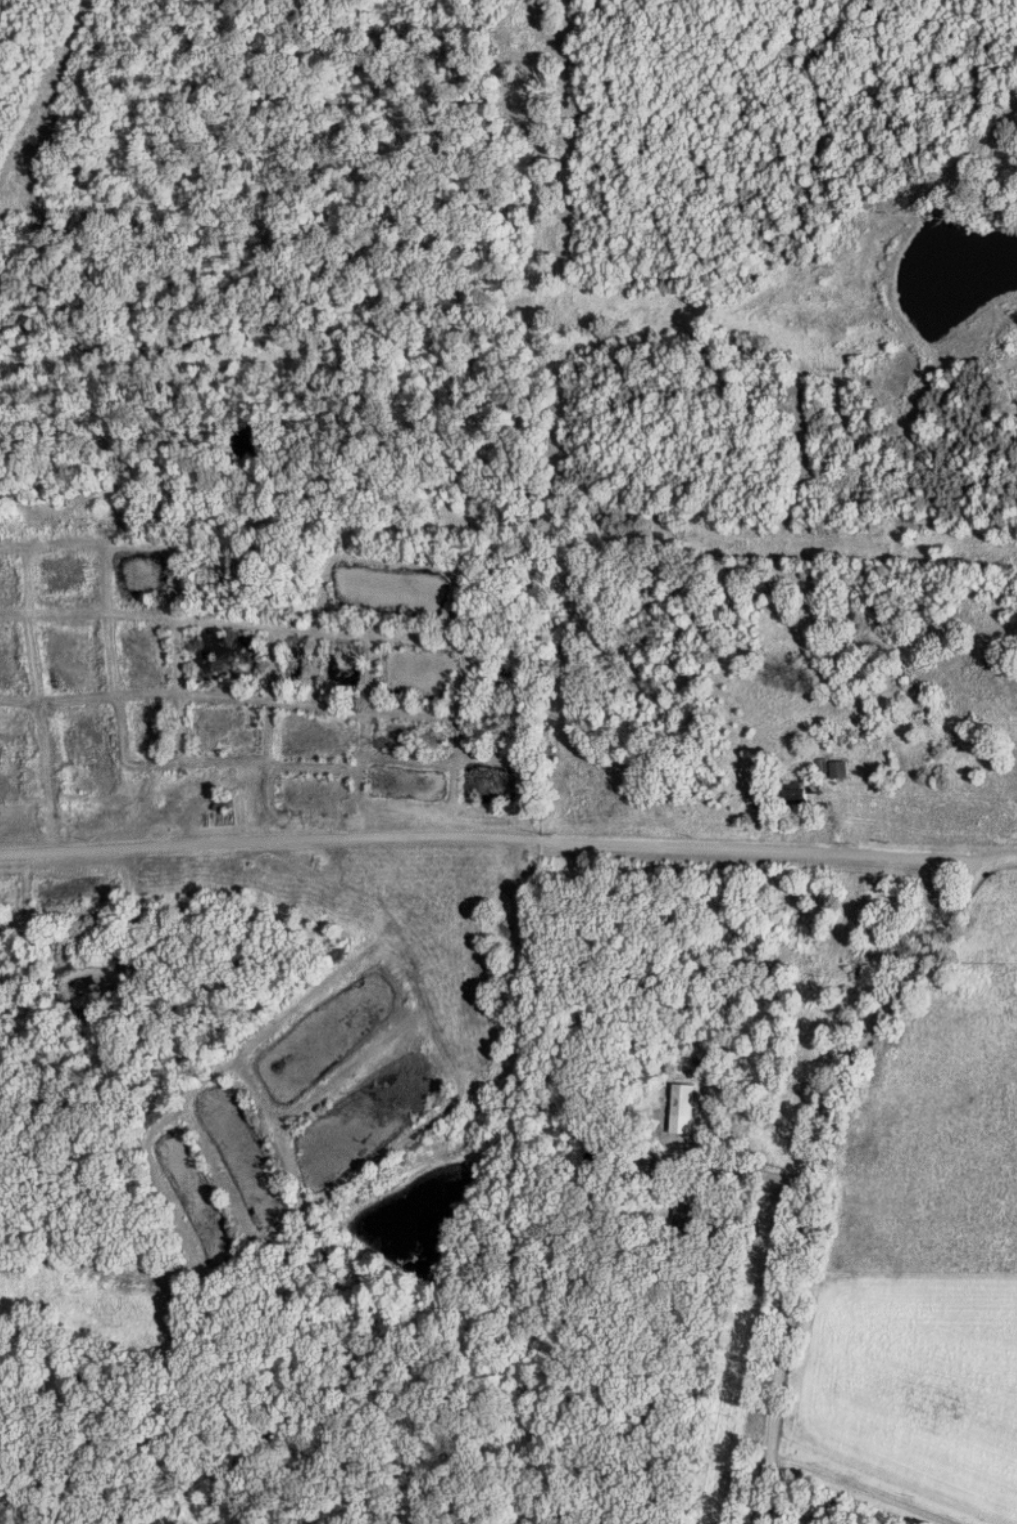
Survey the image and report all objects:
building: (840, 769)
building: (798, 793)
road: (492, 836)
building: (683, 1099)
road: (816, 1156)
building: (685, 1216)
road: (861, 1487)

